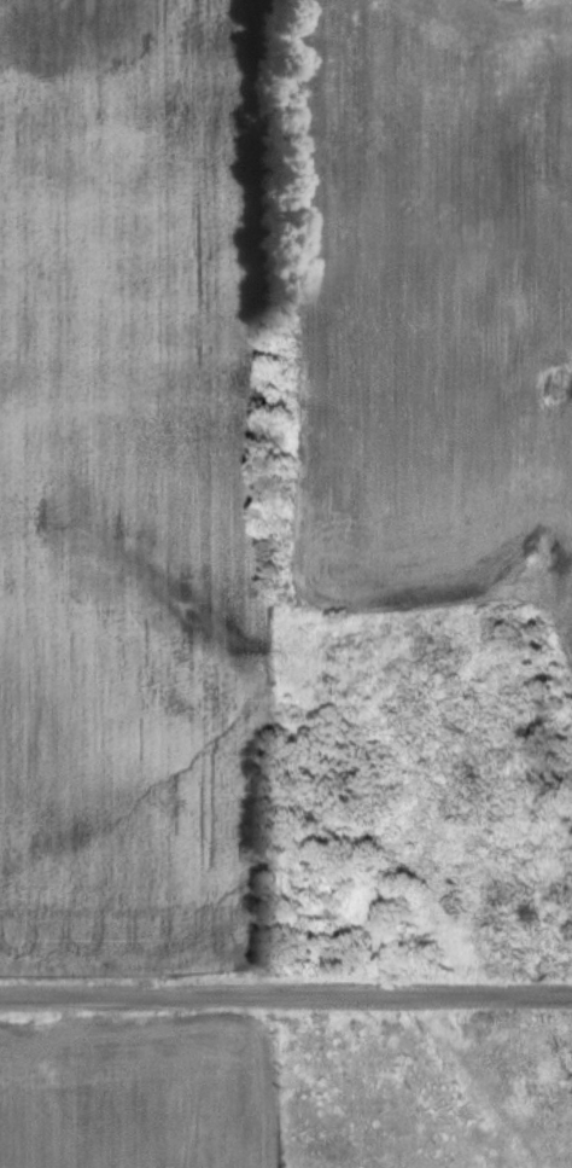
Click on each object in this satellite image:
road: (286, 998)

